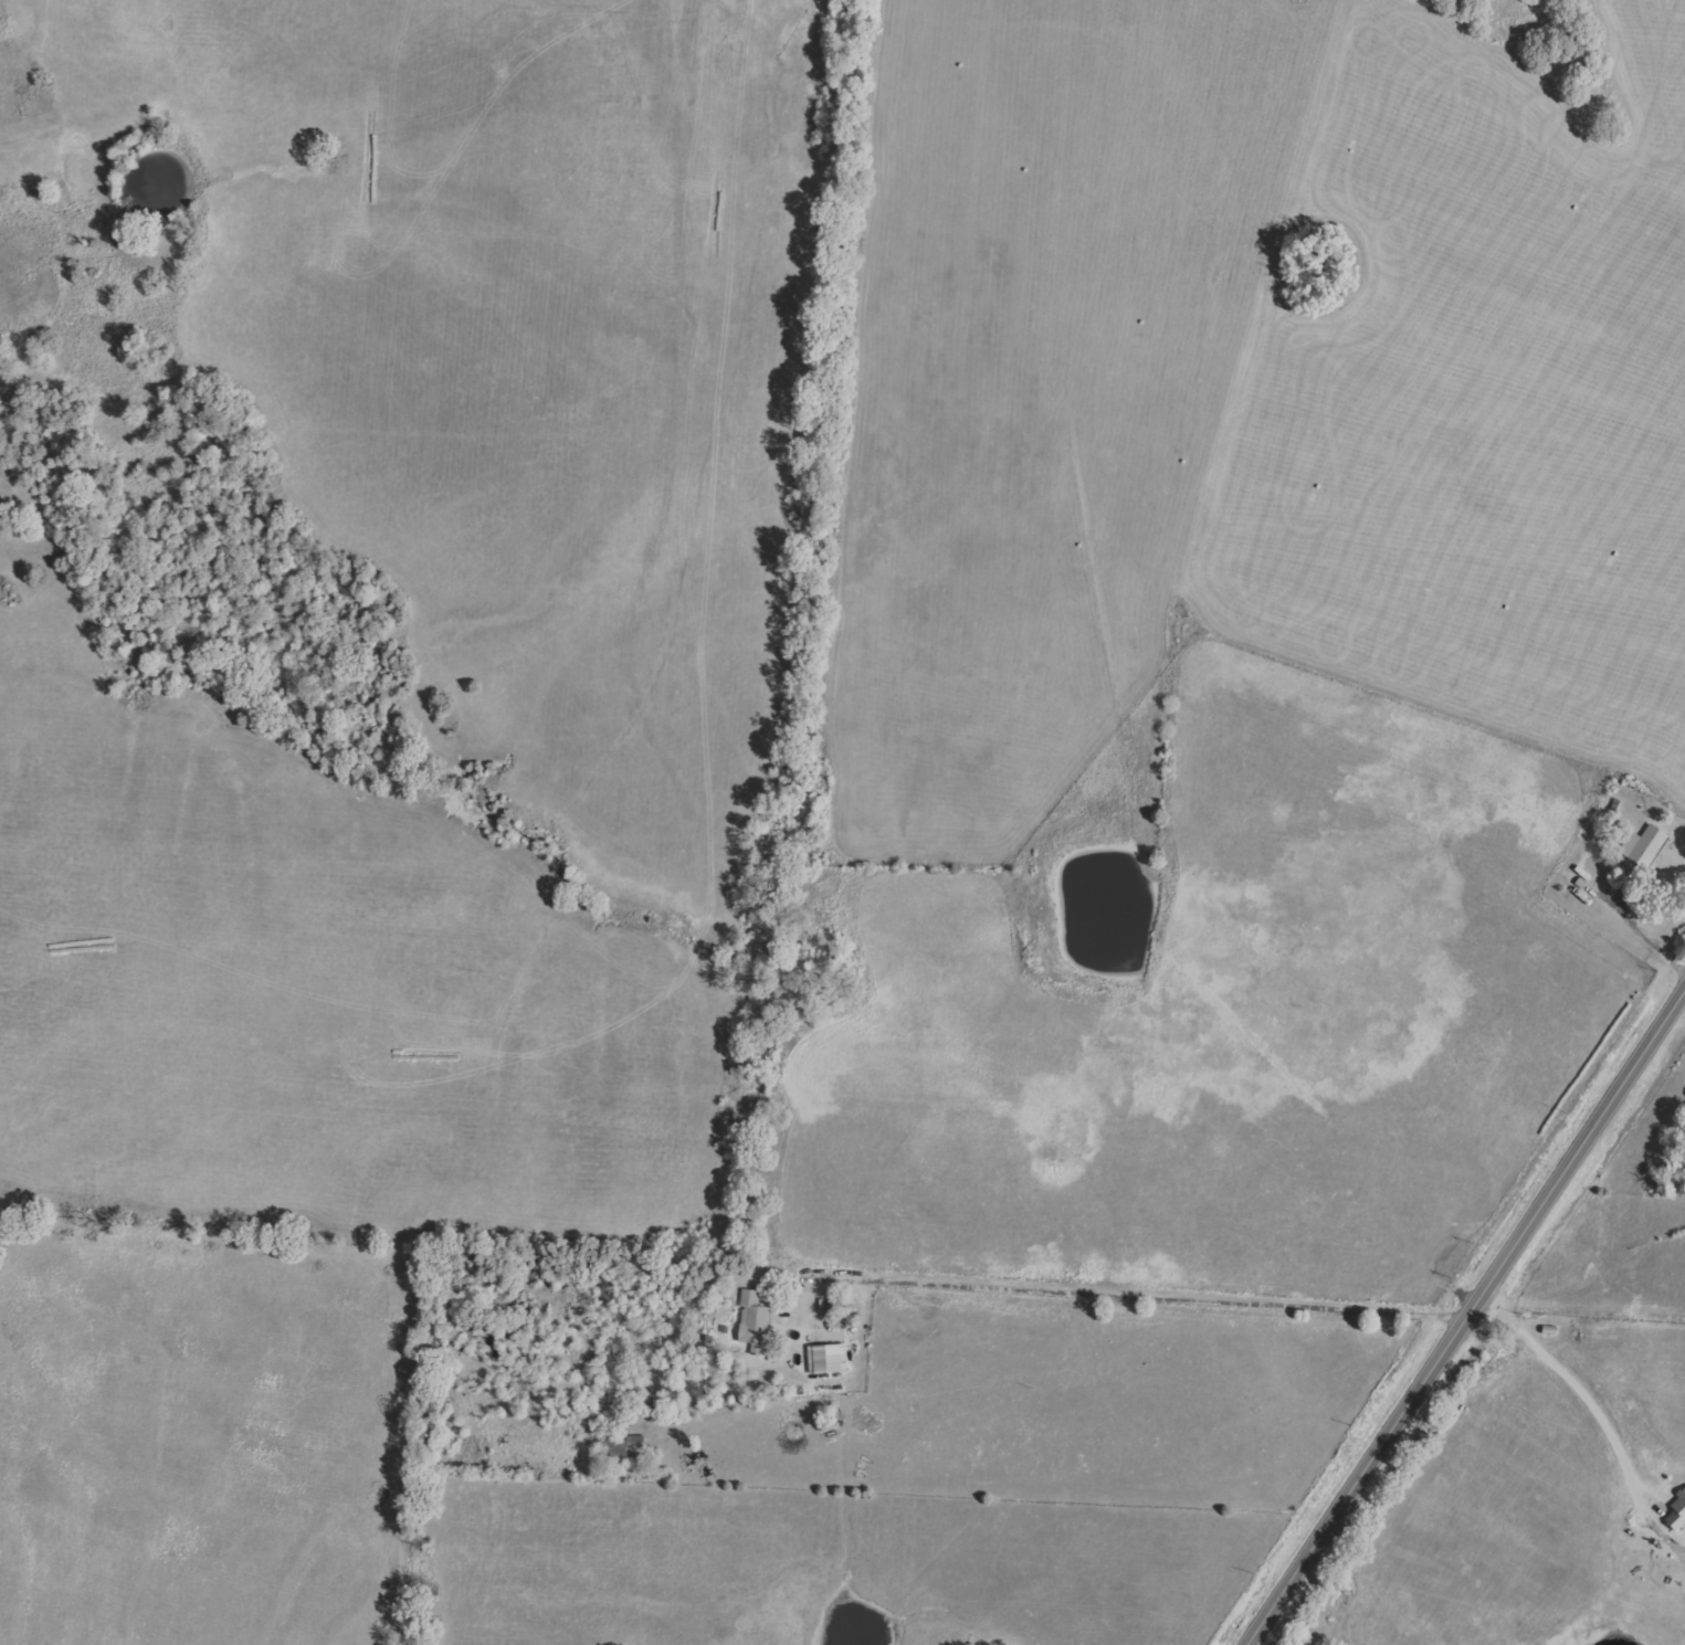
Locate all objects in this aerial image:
building: (1644, 844)
road: (1647, 937)
road: (1152, 1296)
road: (1464, 1316)
building: (754, 1322)
building: (828, 1358)
road: (1580, 1392)
building: (1677, 1512)

